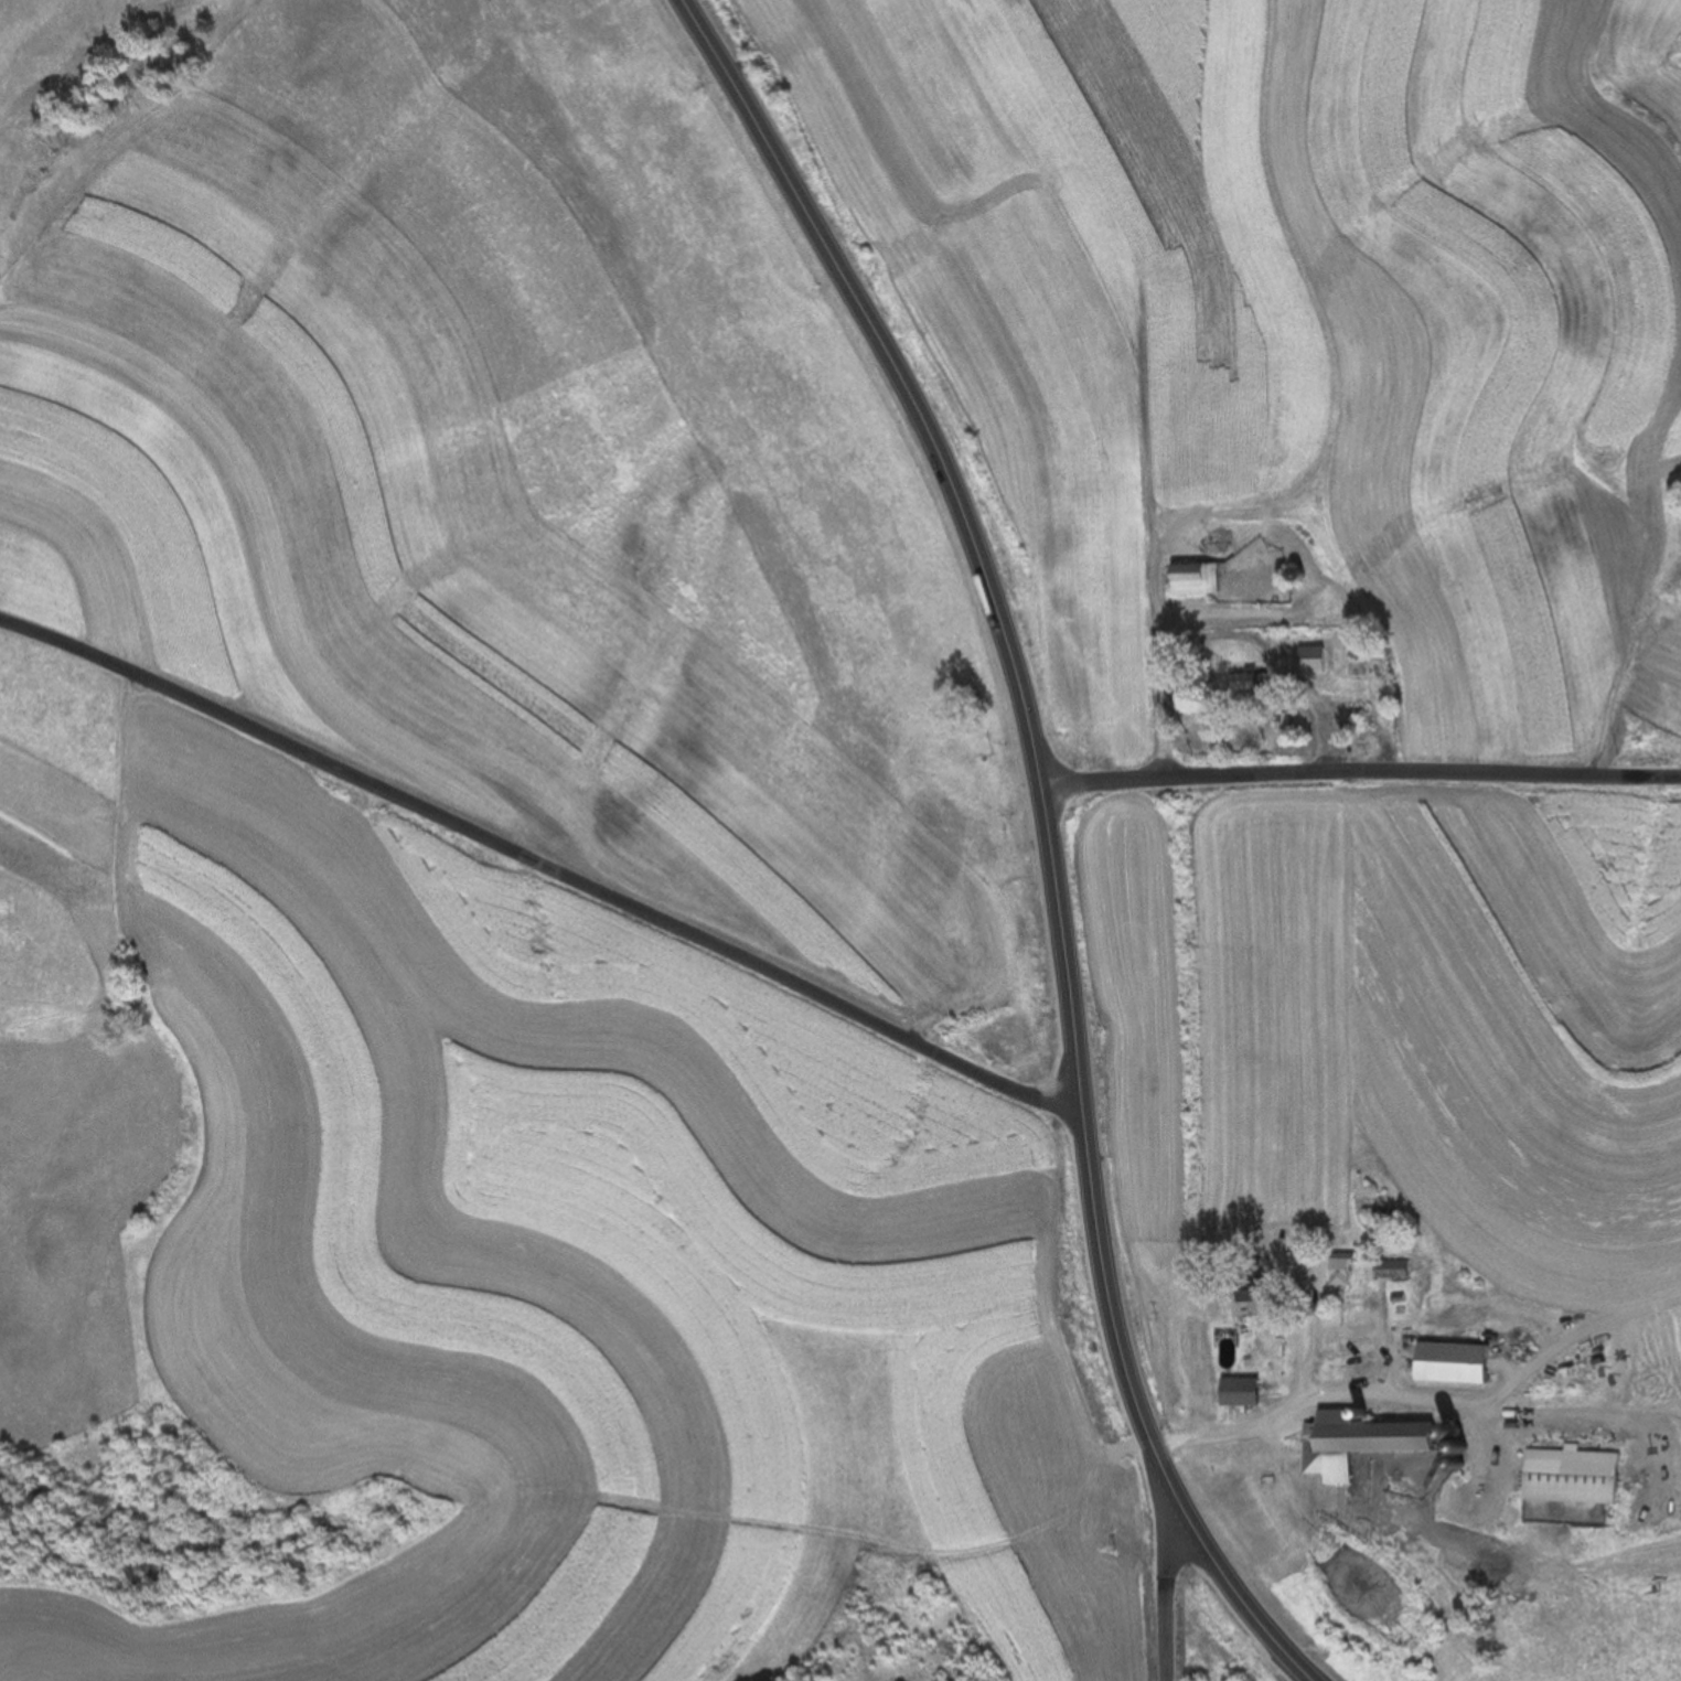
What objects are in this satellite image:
road: (1211, 630)
road: (1358, 768)
road: (1046, 831)
road: (540, 864)
road: (1372, 1398)
road: (1167, 1583)

